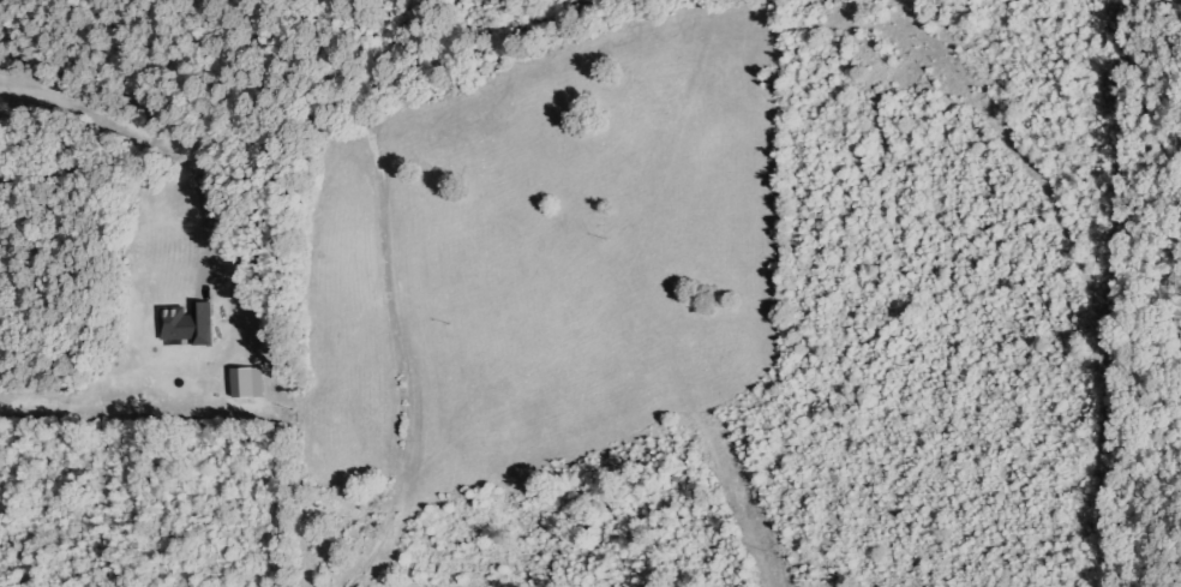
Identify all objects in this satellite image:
road: (119, 106)
road: (96, 224)
road: (396, 343)

